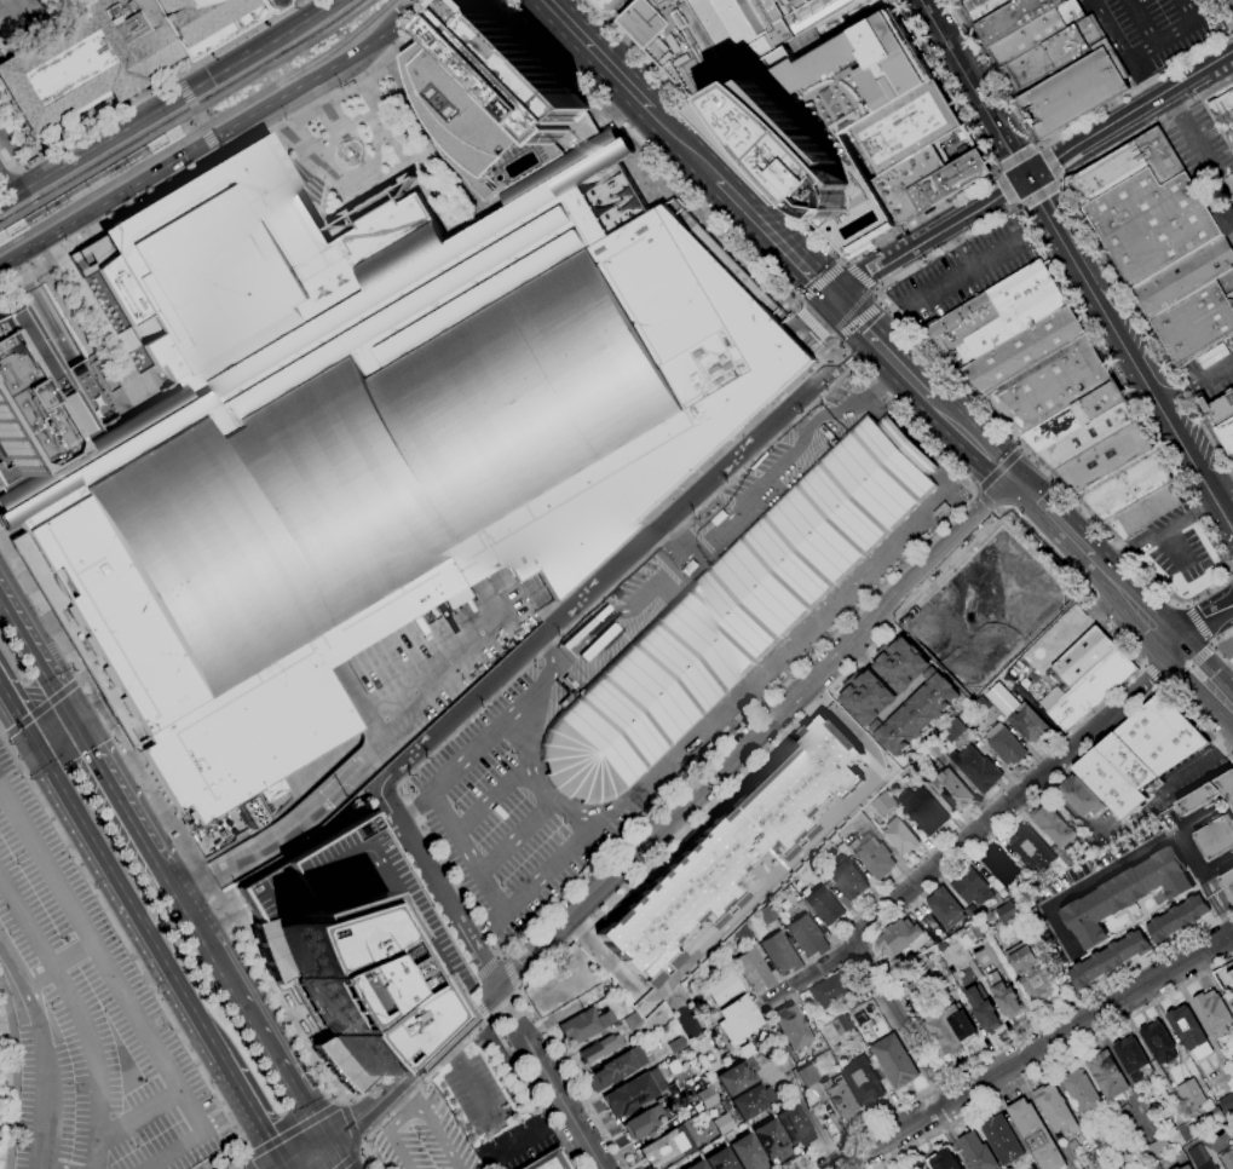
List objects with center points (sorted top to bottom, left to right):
parking lot: (961, 0)
building: (612, 4)
building: (10, 5)
building: (983, 7)
road: (414, 11)
road: (1198, 12)
building: (1013, 18)
road: (424, 21)
flagpole: (252, 24)
road: (1148, 25)
flagpole: (244, 28)
road: (1232, 29)
parking lot: (1153, 30)
building: (736, 31)
building: (1037, 33)
flagpole: (235, 34)
road: (1186, 38)
building: (116, 50)
traffic signals: (1232, 50)
road: (1122, 51)
road: (599, 53)
building: (1056, 57)
road: (1217, 58)
road: (177, 80)
road: (307, 82)
road: (974, 87)
flagpole: (391, 91)
road: (154, 92)
building: (1073, 93)
traffic signals: (186, 94)
building: (1231, 94)
flagpole: (385, 96)
road: (188, 97)
flagpole: (379, 99)
building: (491, 100)
road: (1146, 102)
road: (171, 103)
building: (1223, 113)
railway: (189, 114)
road: (201, 119)
building: (824, 120)
road: (1078, 120)
road: (191, 123)
railway: (202, 128)
building: (908, 128)
railway: (184, 131)
road: (208, 131)
road: (621, 133)
traffic signals: (213, 139)
road: (214, 143)
road: (684, 144)
road: (1038, 145)
parking lot: (1203, 148)
road: (219, 150)
traffic signals: (1012, 151)
road: (647, 155)
road: (1058, 155)
road: (1016, 159)
traffic signals: (1054, 159)
road: (1047, 163)
building: (1125, 167)
road: (995, 171)
road: (7, 180)
building: (949, 180)
building: (908, 182)
road: (1059, 182)
building: (87, 186)
road: (1004, 189)
road: (1036, 192)
road: (997, 194)
traffic signals: (998, 194)
road: (501, 195)
traffic signals: (1041, 201)
road: (106, 202)
road: (129, 207)
road: (1015, 207)
road: (1049, 215)
building: (1225, 220)
building: (1151, 224)
road: (939, 230)
parking lot: (1232, 238)
road: (776, 240)
road: (1093, 241)
road: (960, 247)
road: (898, 255)
road: (848, 258)
road: (845, 263)
traffic signals: (877, 269)
parking lot: (966, 273)
traffic signals: (812, 277)
road: (858, 277)
building: (1183, 277)
parking lot: (1232, 278)
road: (858, 280)
road: (822, 282)
road: (943, 284)
road: (874, 290)
road: (796, 303)
road: (880, 303)
building: (1014, 309)
road: (42, 311)
road: (822, 311)
road: (91, 312)
road: (851, 319)
road: (854, 322)
building: (1194, 322)
building: (961, 323)
road: (811, 324)
traffic signals: (803, 330)
road: (802, 332)
traffic signals: (863, 332)
road: (129, 339)
road: (831, 340)
road: (834, 347)
road: (109, 350)
building: (1022, 350)
road: (883, 352)
road: (846, 359)
road: (97, 363)
road: (136, 365)
road: (1195, 379)
road: (912, 382)
building: (1049, 385)
road: (1151, 386)
road: (137, 390)
building: (36, 401)
building: (1095, 403)
road: (139, 404)
building: (1218, 407)
road: (807, 426)
building: (1051, 428)
building: (1226, 434)
building: (368, 436)
building: (1087, 436)
road: (972, 442)
road: (1020, 448)
building: (1104, 457)
parking lot: (401, 459)
parking lot: (401, 459)
road: (998, 471)
building: (1124, 485)
traffic signals: (1014, 486)
road: (975, 491)
road: (989, 505)
building: (1146, 509)
building: (940, 511)
road: (1003, 519)
road: (1232, 519)
road: (1050, 522)
road: (1157, 531)
road: (1208, 532)
parking lot: (1174, 547)
road: (622, 559)
road: (1232, 570)
road: (1228, 571)
road: (1232, 571)
road: (647, 591)
building: (993, 600)
building: (736, 611)
road: (908, 611)
road: (1199, 618)
road: (1193, 623)
road: (1159, 633)
road: (511, 643)
road: (551, 643)
road: (930, 643)
parking lot: (1050, 645)
road: (1210, 645)
road: (1212, 647)
road: (1215, 647)
park: (1226, 649)
road: (41, 653)
road: (796, 663)
road: (1187, 666)
road: (1153, 676)
road: (126, 678)
building: (1084, 678)
road: (81, 679)
road: (132, 689)
building: (897, 695)
road: (139, 699)
road: (7, 702)
road: (40, 708)
road: (90, 709)
road: (7, 718)
road: (94, 718)
road: (710, 718)
road: (98, 722)
road: (1199, 724)
traffic signals: (83, 725)
building: (1029, 725)
road: (488, 731)
building: (952, 731)
road: (25, 733)
road: (5, 737)
road: (61, 739)
building: (1004, 745)
building: (933, 750)
traffic signals: (38, 754)
building: (1139, 755)
road: (362, 762)
building: (975, 768)
road: (531, 781)
building: (951, 790)
road: (125, 794)
building: (1079, 796)
road: (491, 797)
building: (883, 804)
building: (922, 810)
building: (249, 812)
road: (673, 816)
building: (1227, 816)
road: (167, 817)
parking lot: (495, 825)
building: (1051, 827)
road: (976, 829)
road: (517, 836)
building: (900, 836)
building: (1030, 848)
road: (289, 850)
road: (467, 850)
building: (727, 851)
building: (872, 856)
road: (956, 864)
building: (1001, 868)
road: (1110, 868)
road: (430, 879)
building: (847, 879)
building: (1228, 883)
building: (970, 887)
building: (1125, 894)
road: (1218, 894)
building: (788, 897)
parking lot: (379, 905)
building: (823, 905)
road: (128, 906)
building: (944, 908)
road: (1211, 908)
building: (1007, 912)
building: (972, 914)
building: (768, 916)
building: (923, 918)
building: (1176, 918)
building: (973, 932)
building: (744, 934)
building: (807, 935)
building: (898, 937)
road: (212, 943)
road: (126, 944)
building: (351, 950)
building: (780, 954)
road: (503, 956)
building: (1108, 960)
road: (59, 963)
road: (484, 969)
building: (754, 971)
road: (512, 972)
building: (1031, 972)
building: (1229, 977)
road: (490, 979)
road: (822, 979)
road: (468, 984)
road: (519, 987)
building: (917, 987)
road: (468, 989)
building: (724, 989)
road: (120, 990)
building: (832, 990)
road: (1090, 992)
building: (1003, 996)
road: (478, 1004)
road: (505, 1004)
building: (983, 1008)
road: (79, 1012)
building: (1212, 1013)
parking lot: (91, 1015)
road: (488, 1019)
building: (633, 1020)
building: (738, 1020)
road: (900, 1020)
building: (958, 1023)
building: (584, 1025)
building: (791, 1026)
building: (840, 1026)
building: (1186, 1027)
road: (478, 1031)
building: (940, 1032)
building: (1158, 1042)
building: (676, 1046)
road: (407, 1047)
road: (41, 1048)
building: (600, 1048)
road: (1033, 1049)
building: (745, 1050)
building: (1202, 1052)
building: (661, 1058)
building: (1131, 1059)
building: (893, 1061)
road: (1051, 1063)
building: (616, 1067)
road: (11, 1073)
park: (10, 1075)
building: (808, 1075)
road: (947, 1076)
building: (1106, 1076)
building: (738, 1077)
road: (467, 1079)
road: (293, 1082)
road: (939, 1082)
building: (863, 1083)
road: (930, 1087)
building: (1081, 1093)
building: (1189, 1094)
road: (559, 1095)
building: (629, 1095)
parking lot: (478, 1096)
building: (840, 1096)
building: (708, 1098)
road: (342, 1100)
building: (753, 1101)
building: (1226, 1104)
road: (248, 1110)
building: (1054, 1110)
road: (139, 1111)
road: (807, 1112)
building: (1214, 1117)
road: (411, 1119)
building: (643, 1122)
building: (722, 1123)
road: (351, 1124)
building: (795, 1125)
traffic signals: (352, 1127)
road: (862, 1129)
road: (293, 1130)
building: (1187, 1131)
road: (530, 1135)
building: (1035, 1135)
building: (999, 1140)
traffic signals: (329, 1141)
building: (772, 1141)
road: (362, 1148)
building: (663, 1148)
road: (304, 1151)
building: (747, 1152)
building: (976, 1152)
building: (1153, 1152)
road: (317, 1154)
road: (336, 1154)
building: (1197, 1156)
road: (244, 1158)
road: (350, 1158)
building: (720, 1159)
building: (1227, 1159)
traffic signals: (280, 1161)
building: (548, 1161)
building: (941, 1161)
building: (1131, 1161)
road: (234, 1163)
road: (248, 1164)
road: (272, 1164)
road: (282, 1164)
building: (696, 1165)
building: (1205, 1165)
road: (54, 1167)
building: (1153, 1167)
building: (1186, 1167)
building: (1176, 1168)

